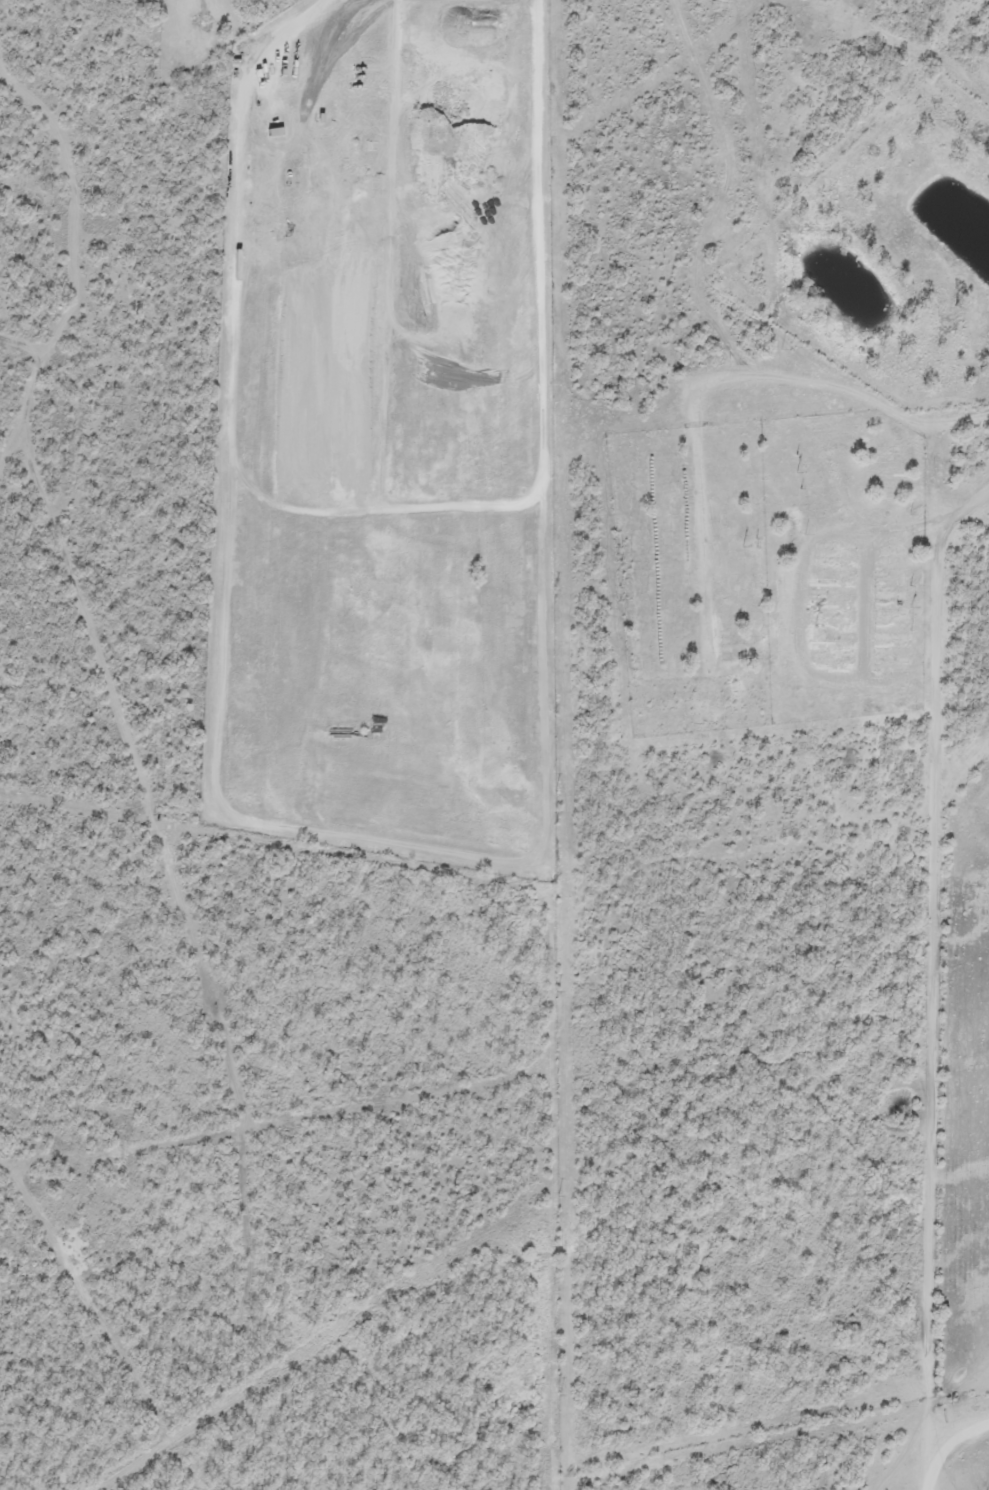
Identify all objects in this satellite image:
building: (183, 4)
road: (442, 224)
road: (223, 555)
road: (561, 744)

